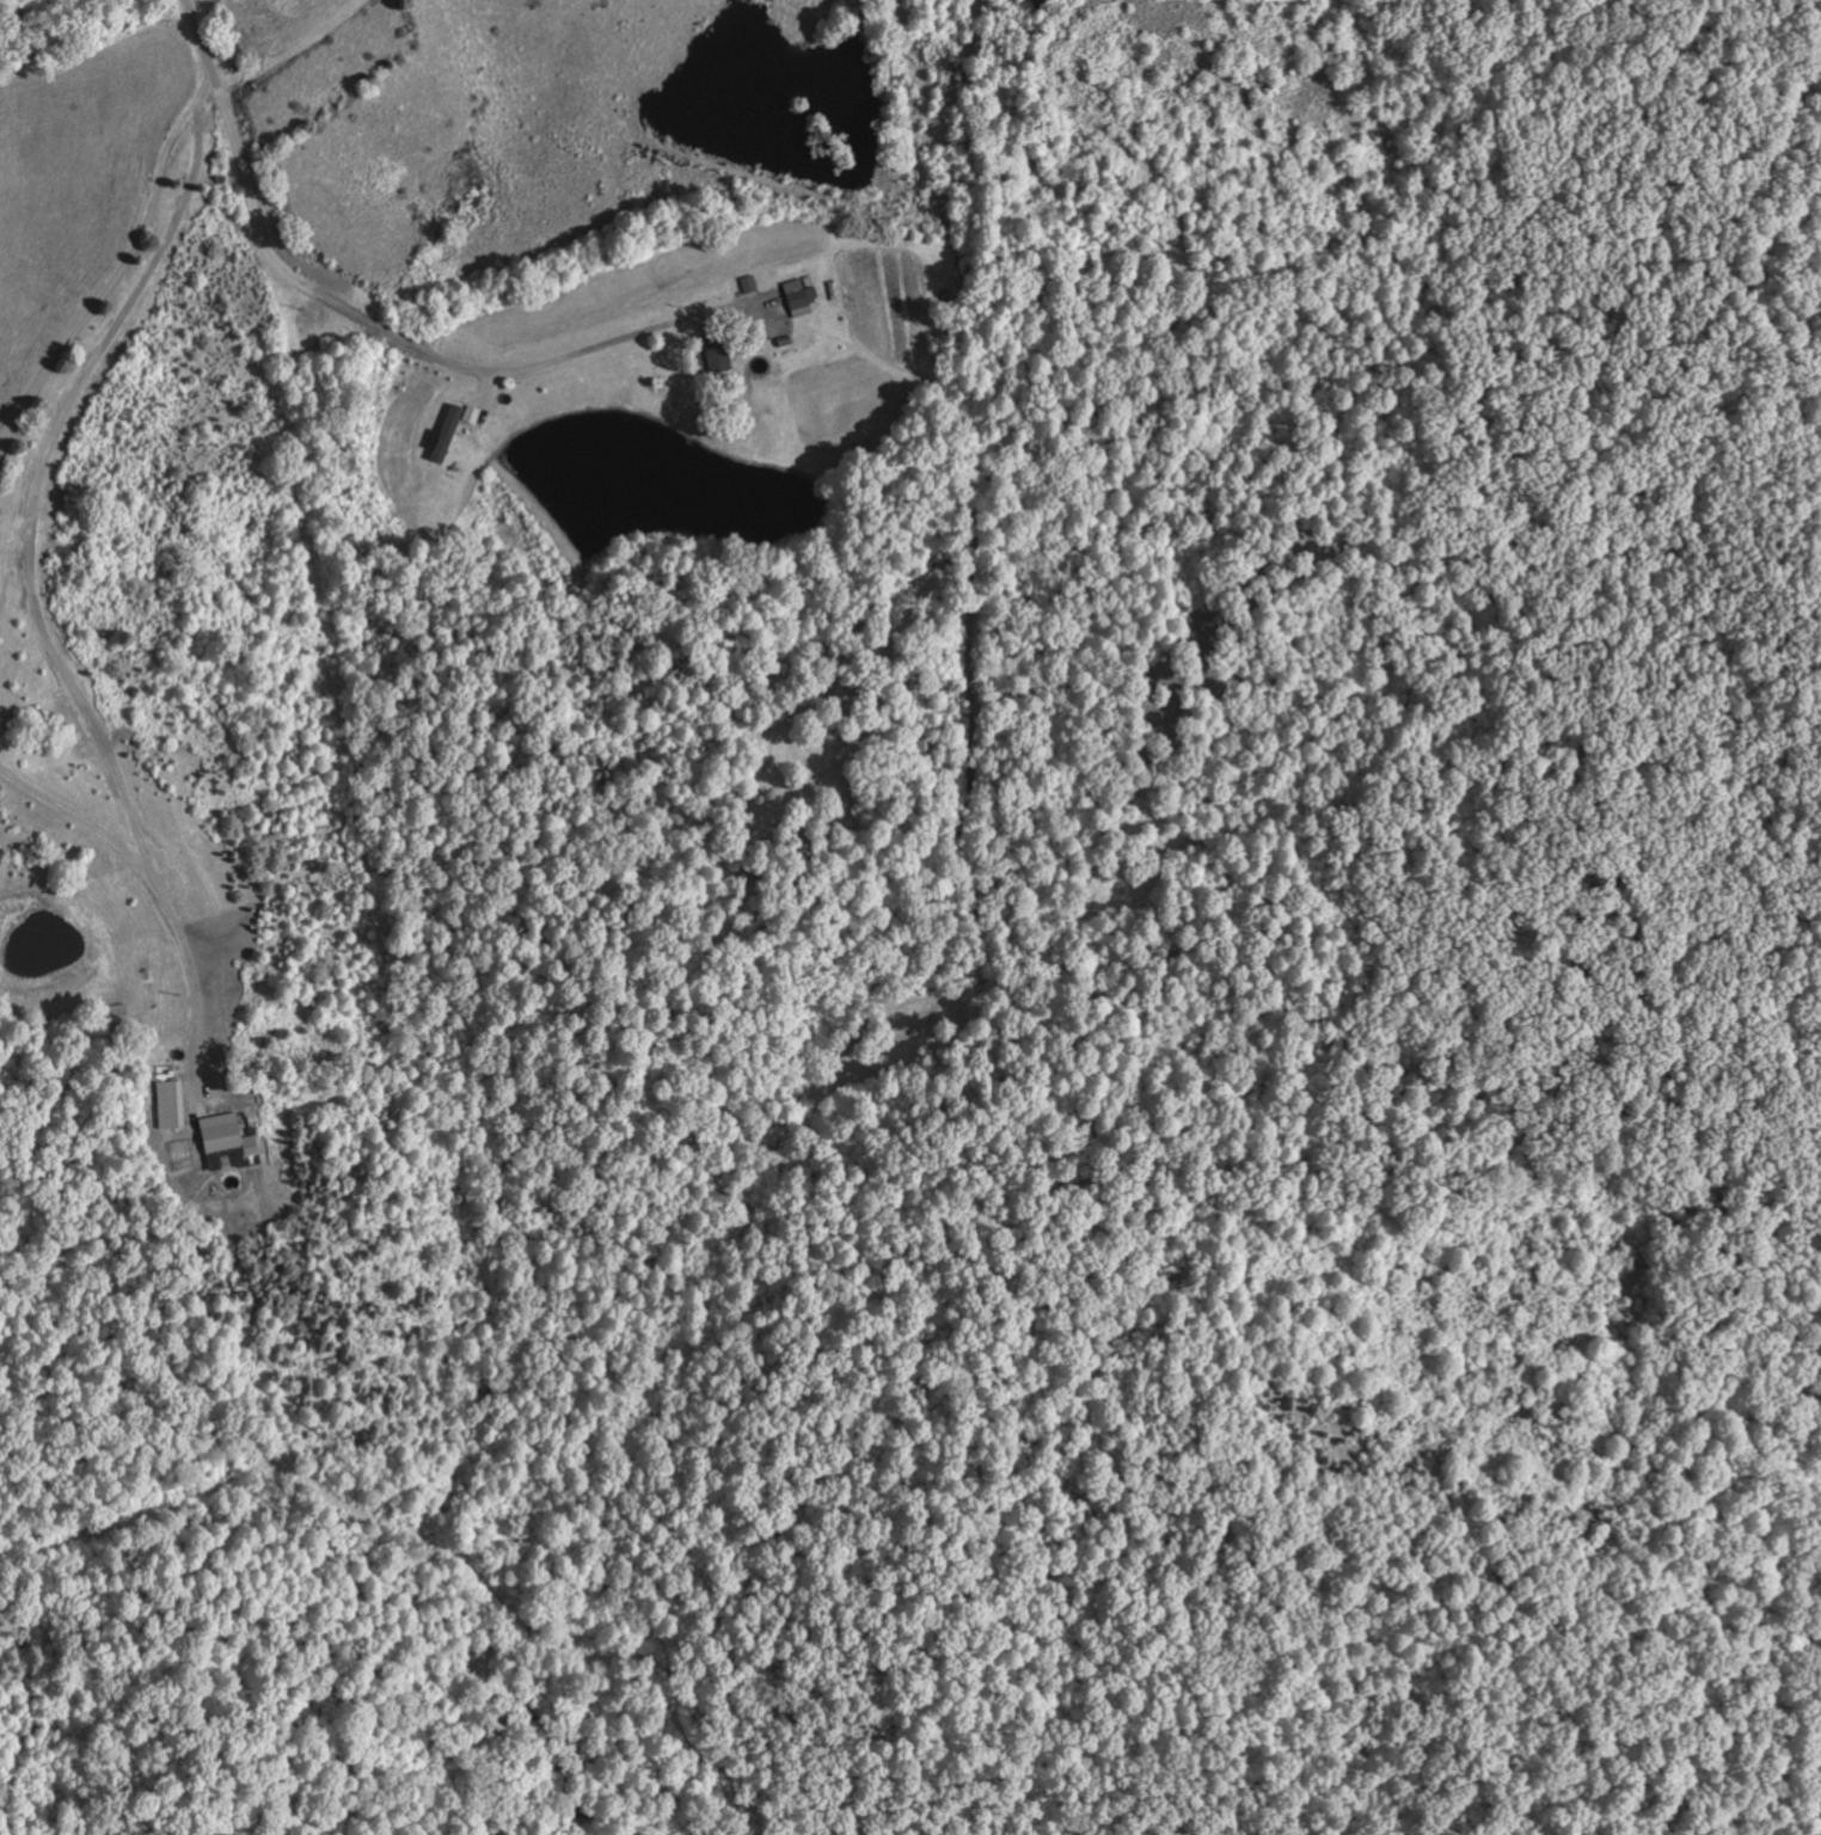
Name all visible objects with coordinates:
road: (209, 45)
road: (116, 281)
building: (802, 297)
road: (404, 343)
road: (38, 585)
road: (84, 809)
building: (172, 1104)
building: (231, 1139)

